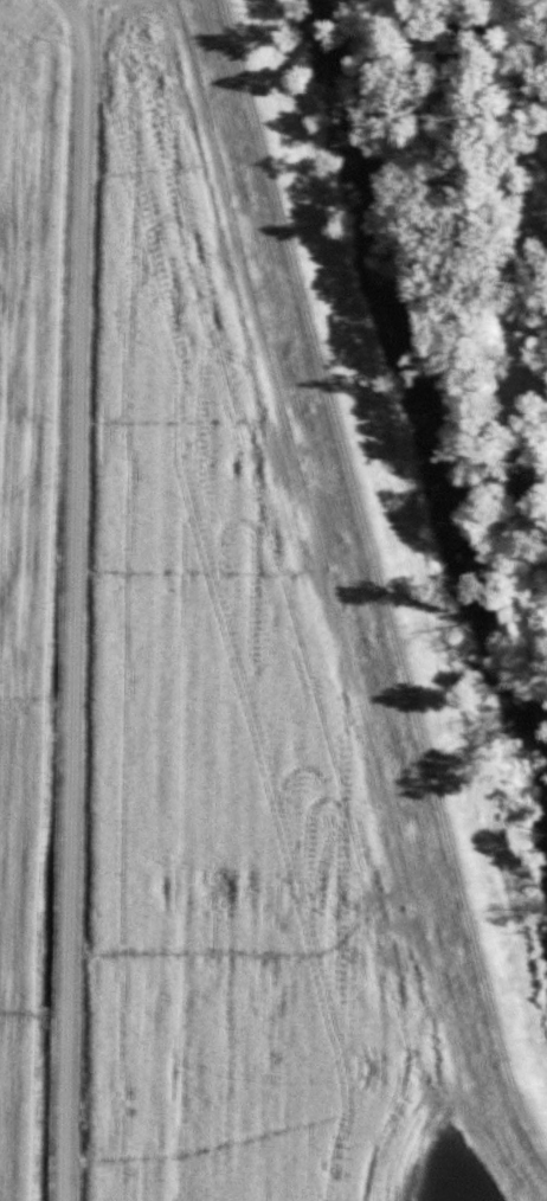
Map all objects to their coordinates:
road: (71, 598)

